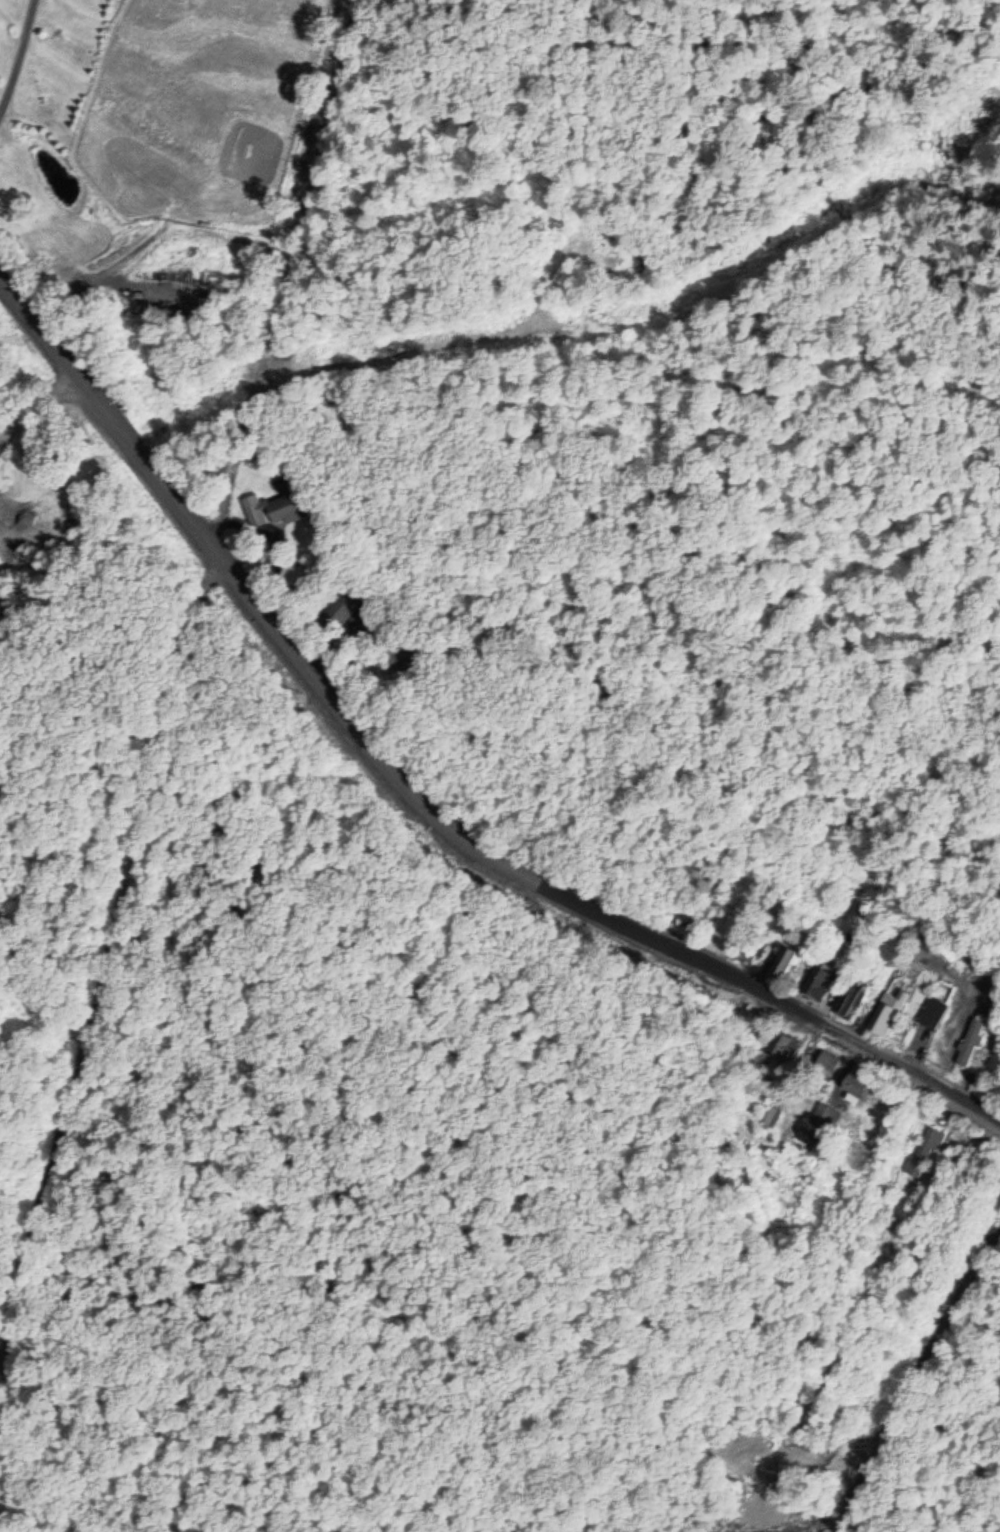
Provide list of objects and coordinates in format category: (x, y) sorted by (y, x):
road: (13, 41)
road: (101, 273)
building: (296, 501)
building: (257, 510)
road: (264, 620)
building: (781, 960)
building: (818, 984)
road: (792, 994)
building: (850, 999)
building: (934, 1011)
building: (885, 1015)
building: (785, 1042)
building: (971, 1042)
building: (827, 1064)
building: (855, 1087)
building: (923, 1151)
road: (913, 1395)

